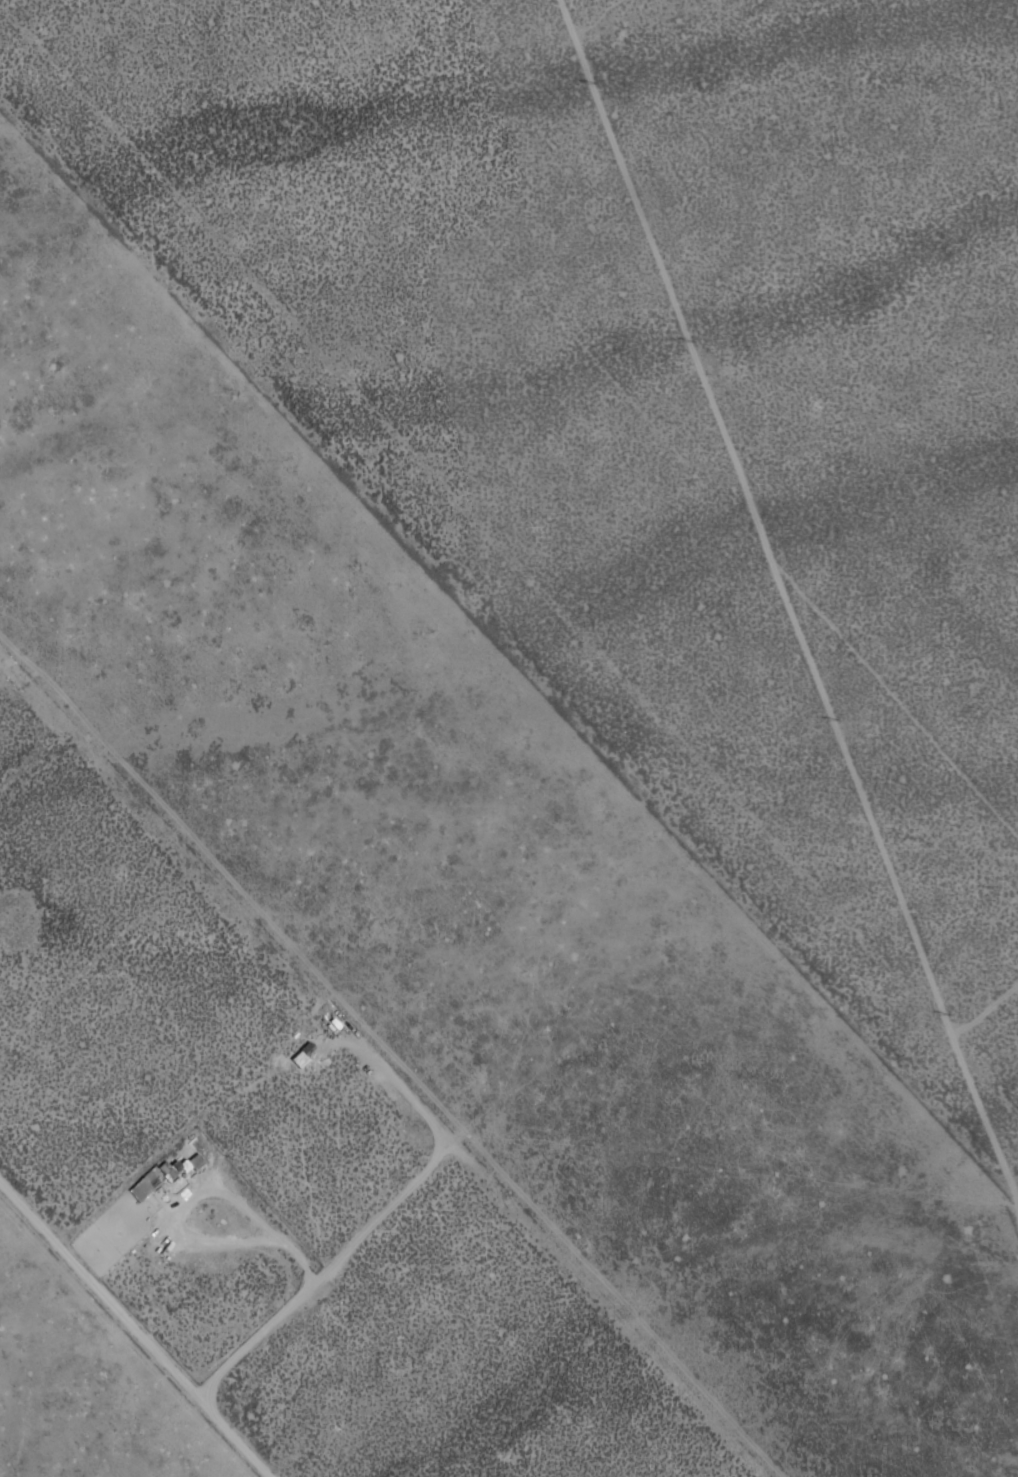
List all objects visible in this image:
road: (135, 1330)

